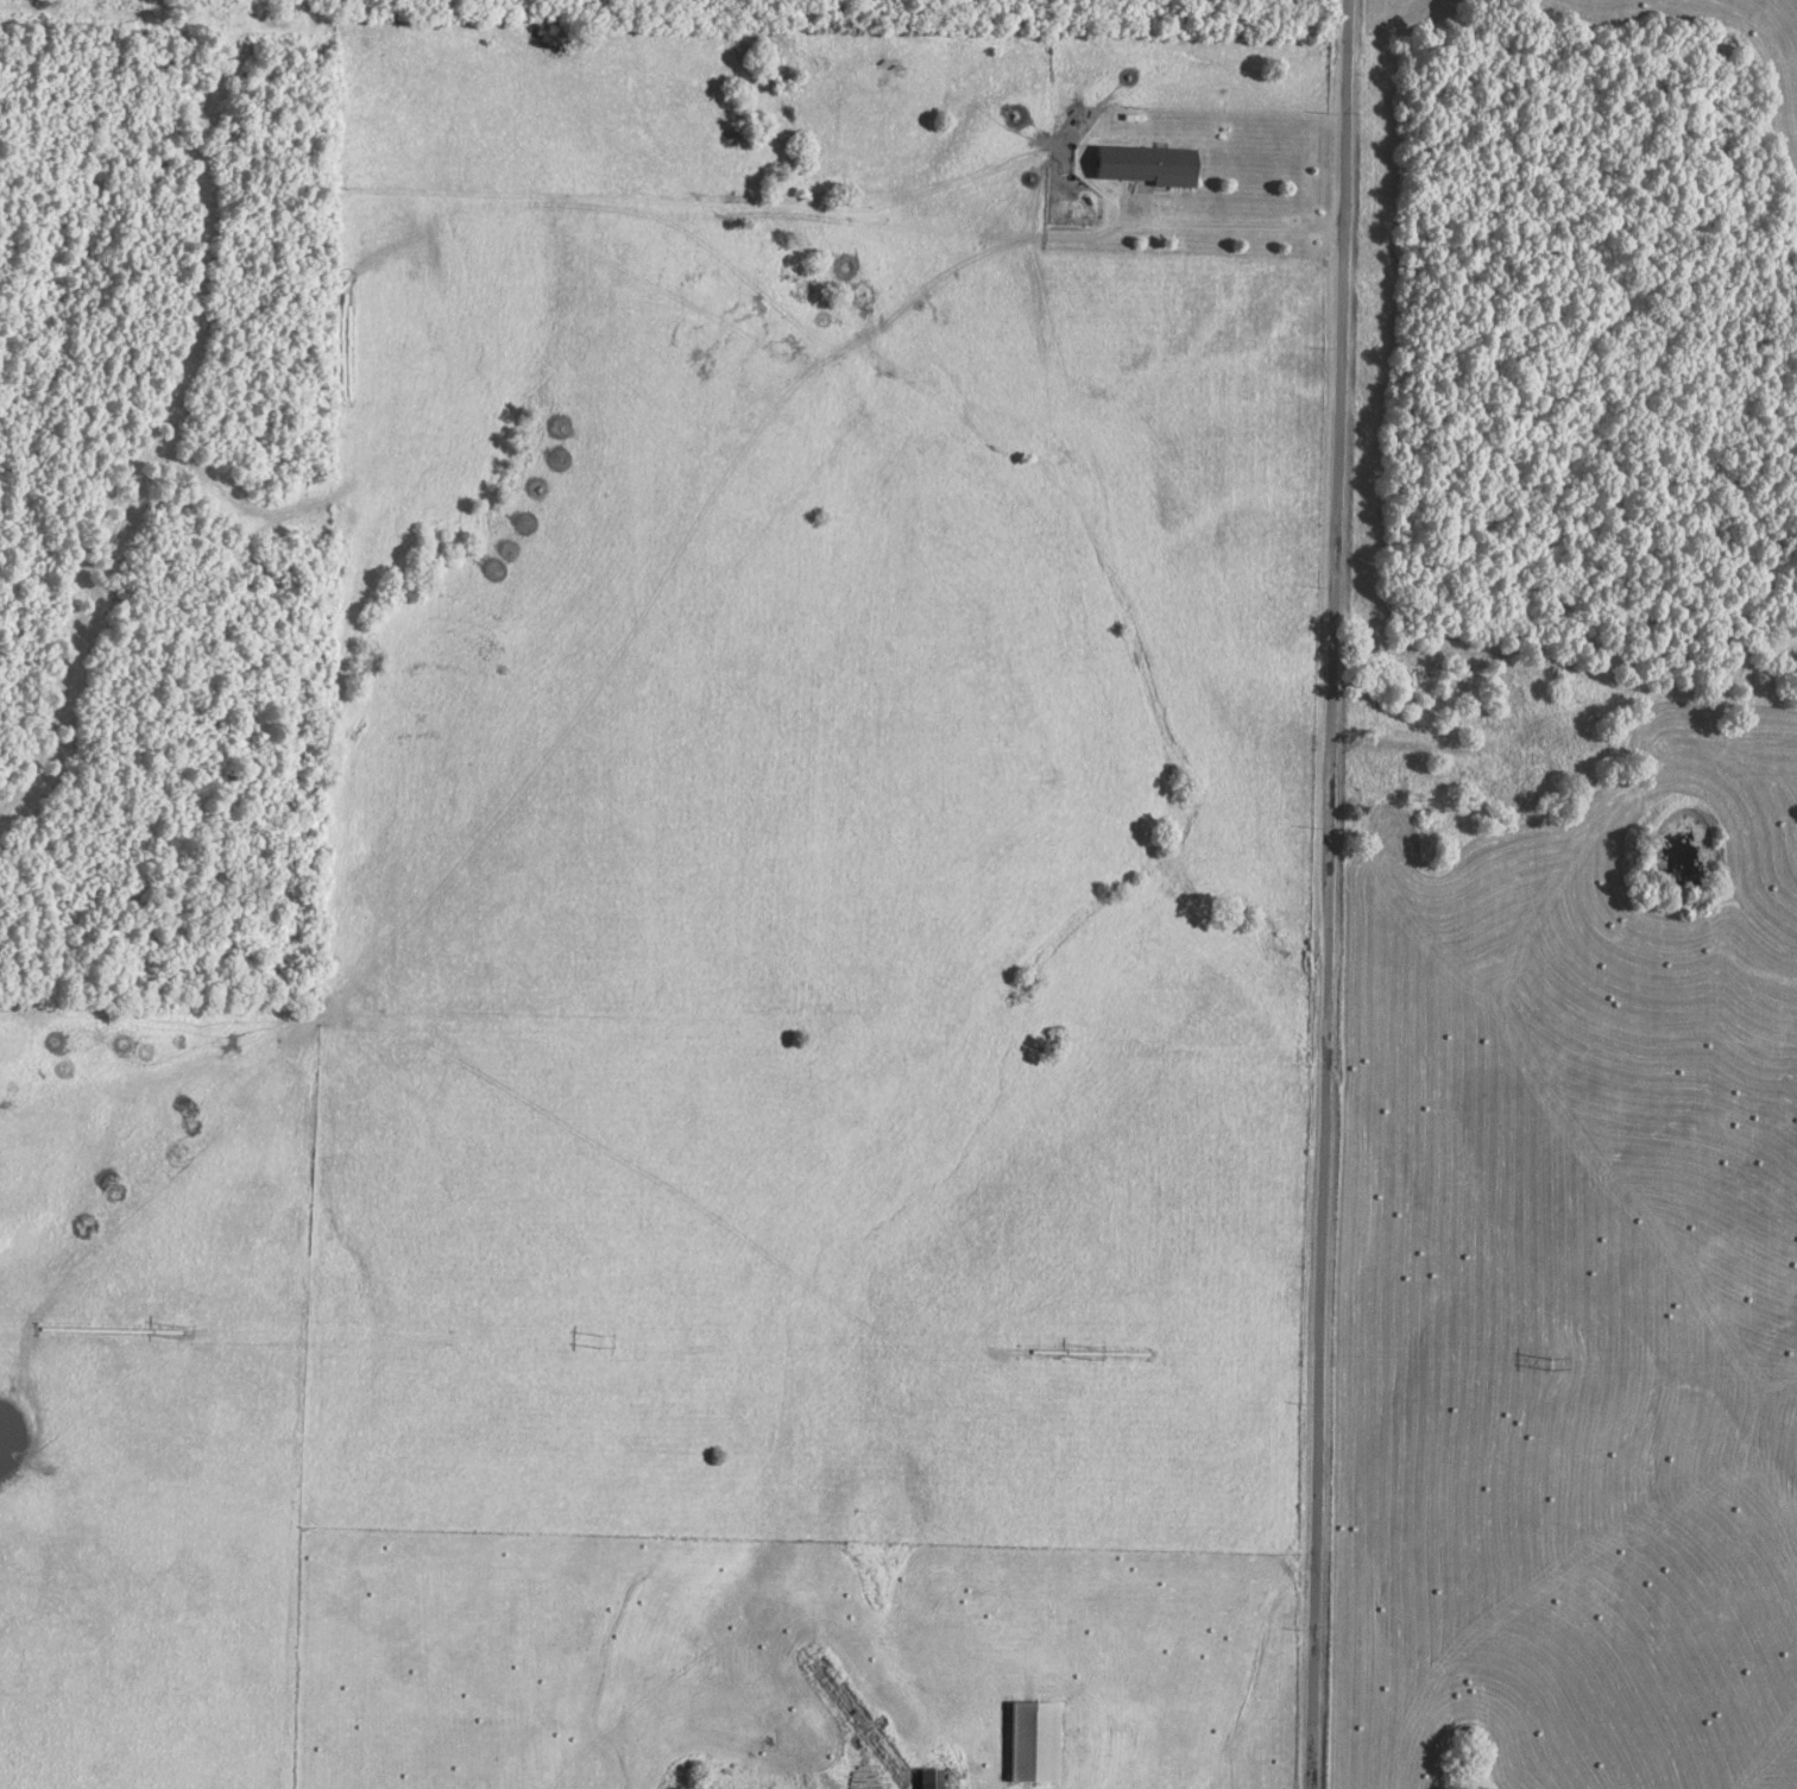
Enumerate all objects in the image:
building: (1148, 165)
road: (1234, 225)
road: (1456, 748)
road: (1325, 894)
power tower: (183, 1331)
power tower: (598, 1340)
power tower: (1092, 1355)
building: (1038, 1741)
building: (933, 1779)

